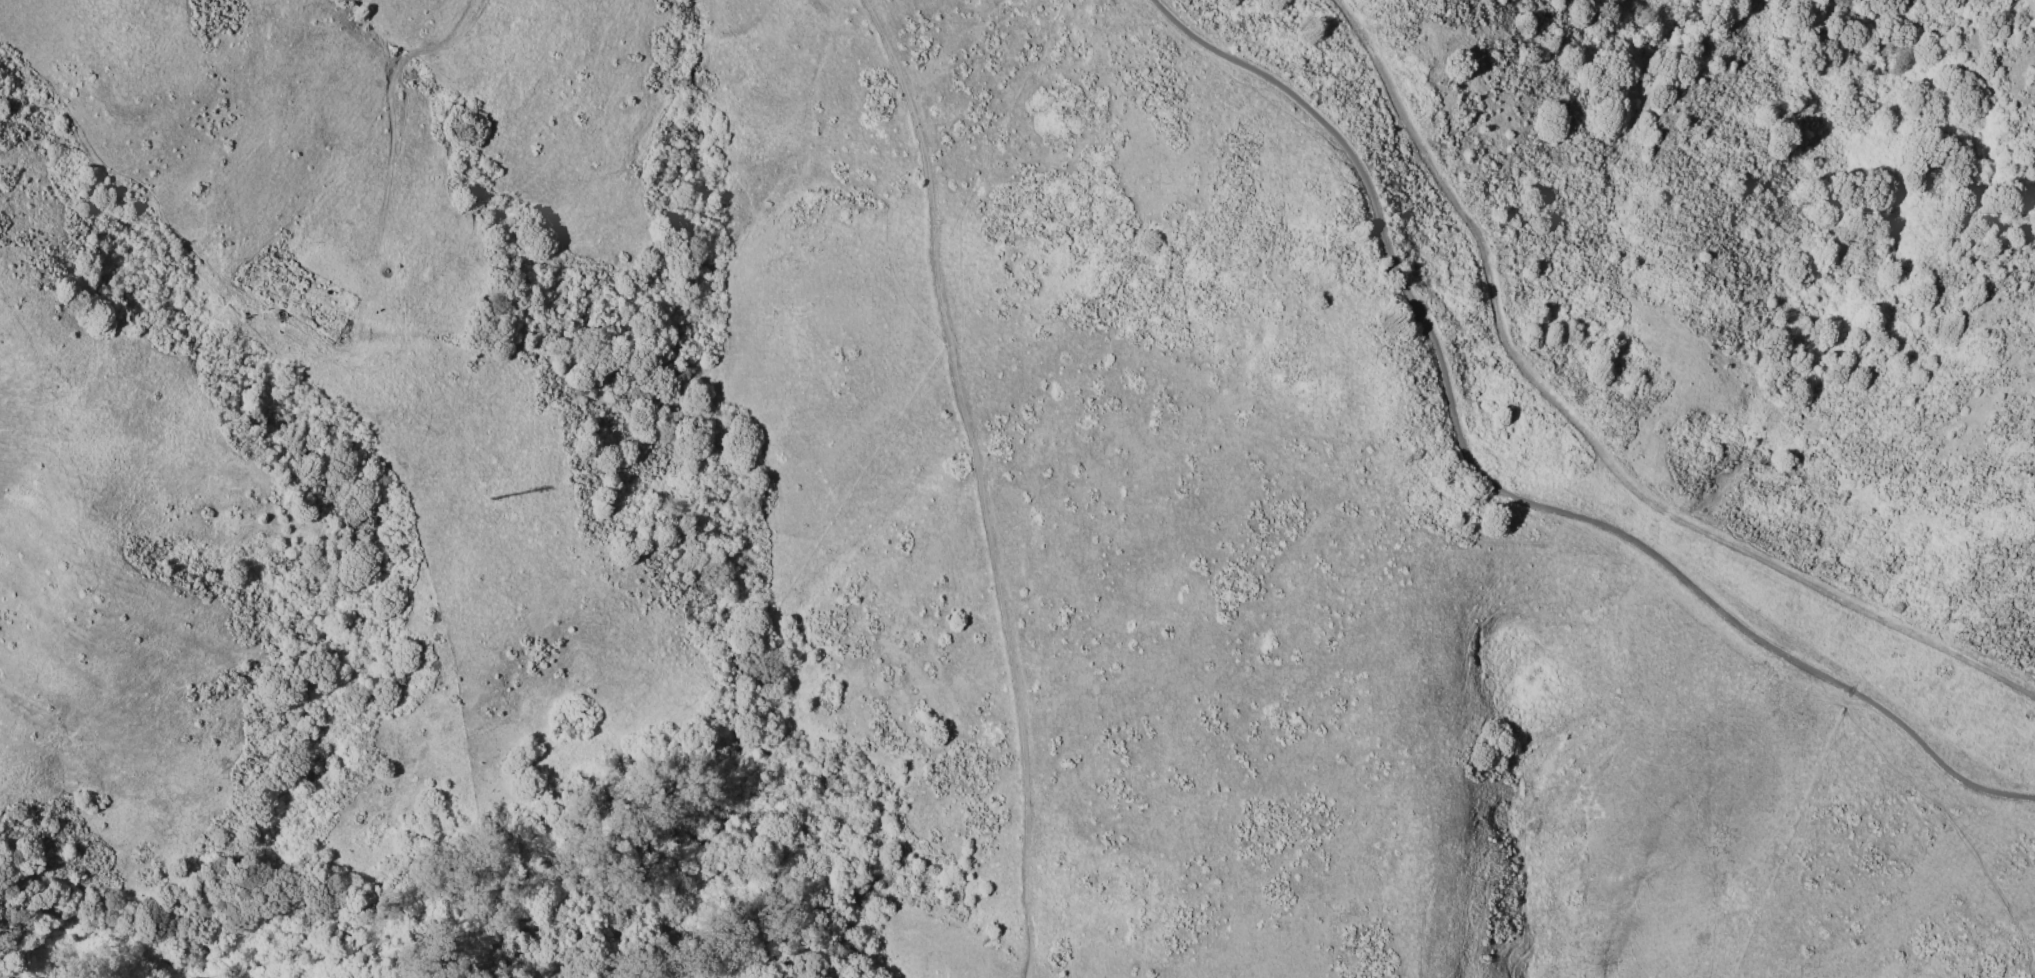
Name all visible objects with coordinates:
road: (1591, 443)
road: (980, 481)
road: (1495, 493)
power tower: (489, 512)
road: (1952, 822)
road: (479, 910)

